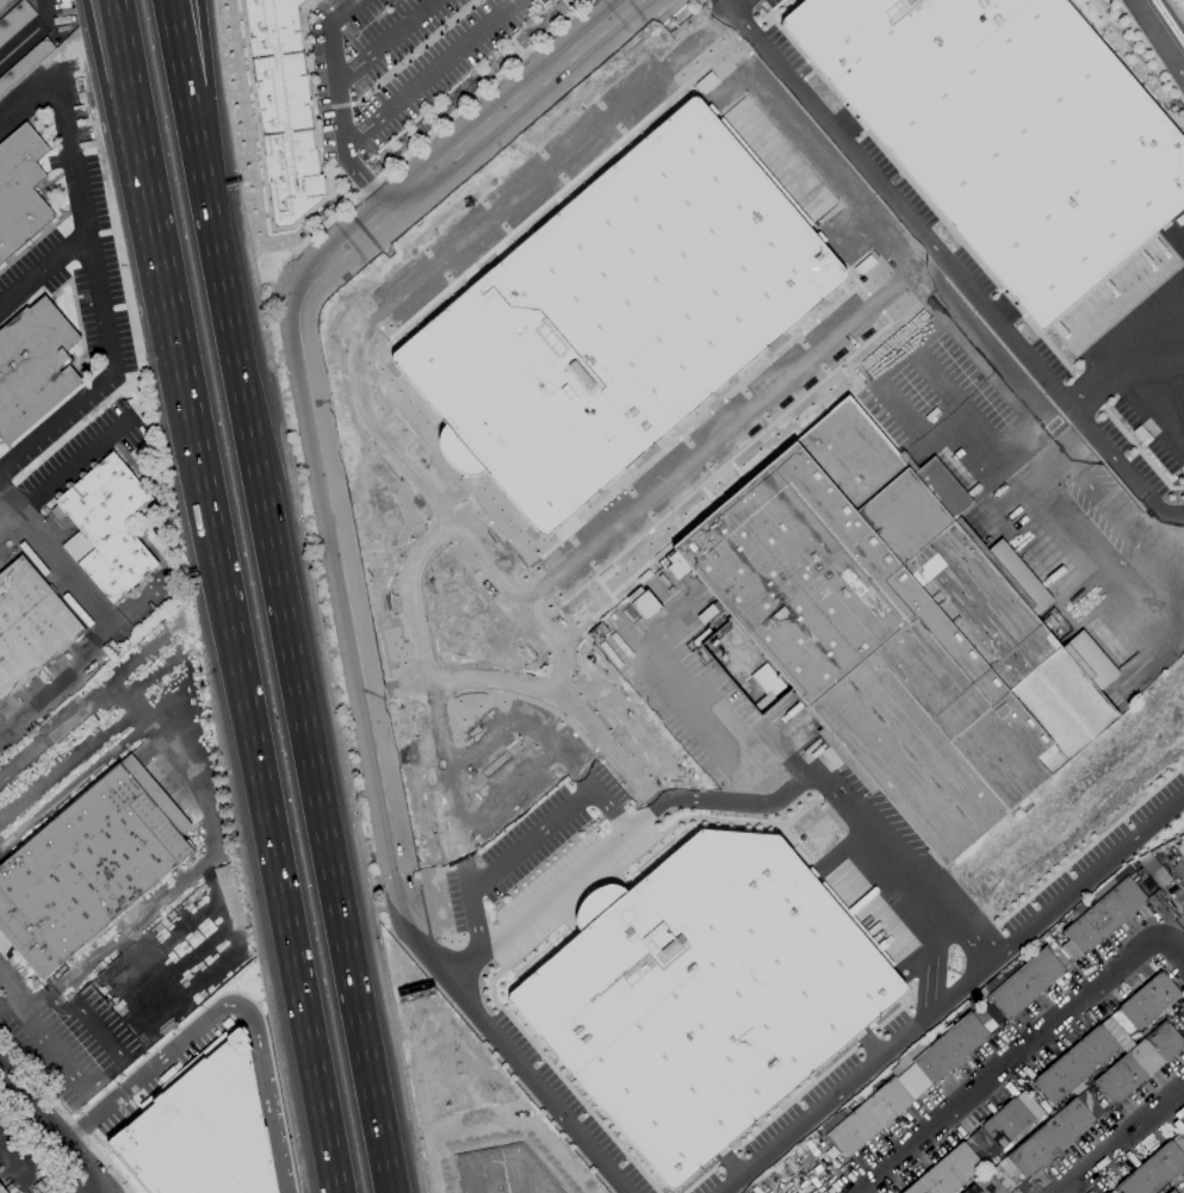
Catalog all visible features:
building: (1, 1)
road: (734, 5)
road: (744, 5)
road: (48, 8)
building: (14, 20)
road: (1161, 35)
road: (25, 38)
road: (385, 42)
road: (411, 52)
parking lot: (395, 60)
building: (25, 64)
road: (429, 73)
road: (29, 97)
road: (337, 105)
road: (340, 105)
road: (134, 108)
building: (284, 110)
road: (110, 111)
building: (1003, 131)
road: (562, 161)
road: (197, 167)
road: (216, 167)
building: (20, 189)
road: (85, 223)
road: (956, 269)
road: (43, 271)
road: (167, 290)
building: (624, 315)
road: (837, 340)
road: (1123, 364)
building: (33, 367)
road: (876, 379)
road: (944, 384)
road: (1021, 392)
road: (309, 397)
road: (55, 422)
road: (1061, 455)
road: (74, 466)
road: (10, 501)
road: (442, 510)
road: (10, 521)
building: (106, 527)
road: (1130, 560)
road: (82, 586)
road: (416, 597)
building: (641, 608)
building: (30, 626)
building: (898, 629)
road: (534, 689)
road: (42, 698)
road: (81, 713)
road: (559, 746)
road: (68, 764)
road: (309, 764)
road: (577, 768)
road: (260, 776)
road: (826, 783)
road: (459, 816)
road: (551, 822)
road: (615, 835)
building: (88, 865)
road: (1089, 876)
road: (172, 888)
building: (1104, 915)
road: (1172, 952)
building: (1022, 987)
road: (14, 988)
building: (699, 994)
road: (8, 1002)
building: (1146, 1004)
road: (55, 1051)
building: (1139, 1063)
road: (521, 1064)
building: (1075, 1064)
road: (1011, 1067)
road: (145, 1071)
road: (857, 1075)
building: (904, 1085)
road: (266, 1089)
road: (63, 1117)
road: (498, 1120)
road: (54, 1125)
building: (200, 1127)
building: (1003, 1127)
building: (1050, 1138)
road: (1121, 1139)
road: (11, 1157)
building: (1155, 1169)
building: (497, 1170)
building: (947, 1172)
building: (986, 1185)
building: (2, 1189)
road: (69, 1189)
building: (1172, 1192)

